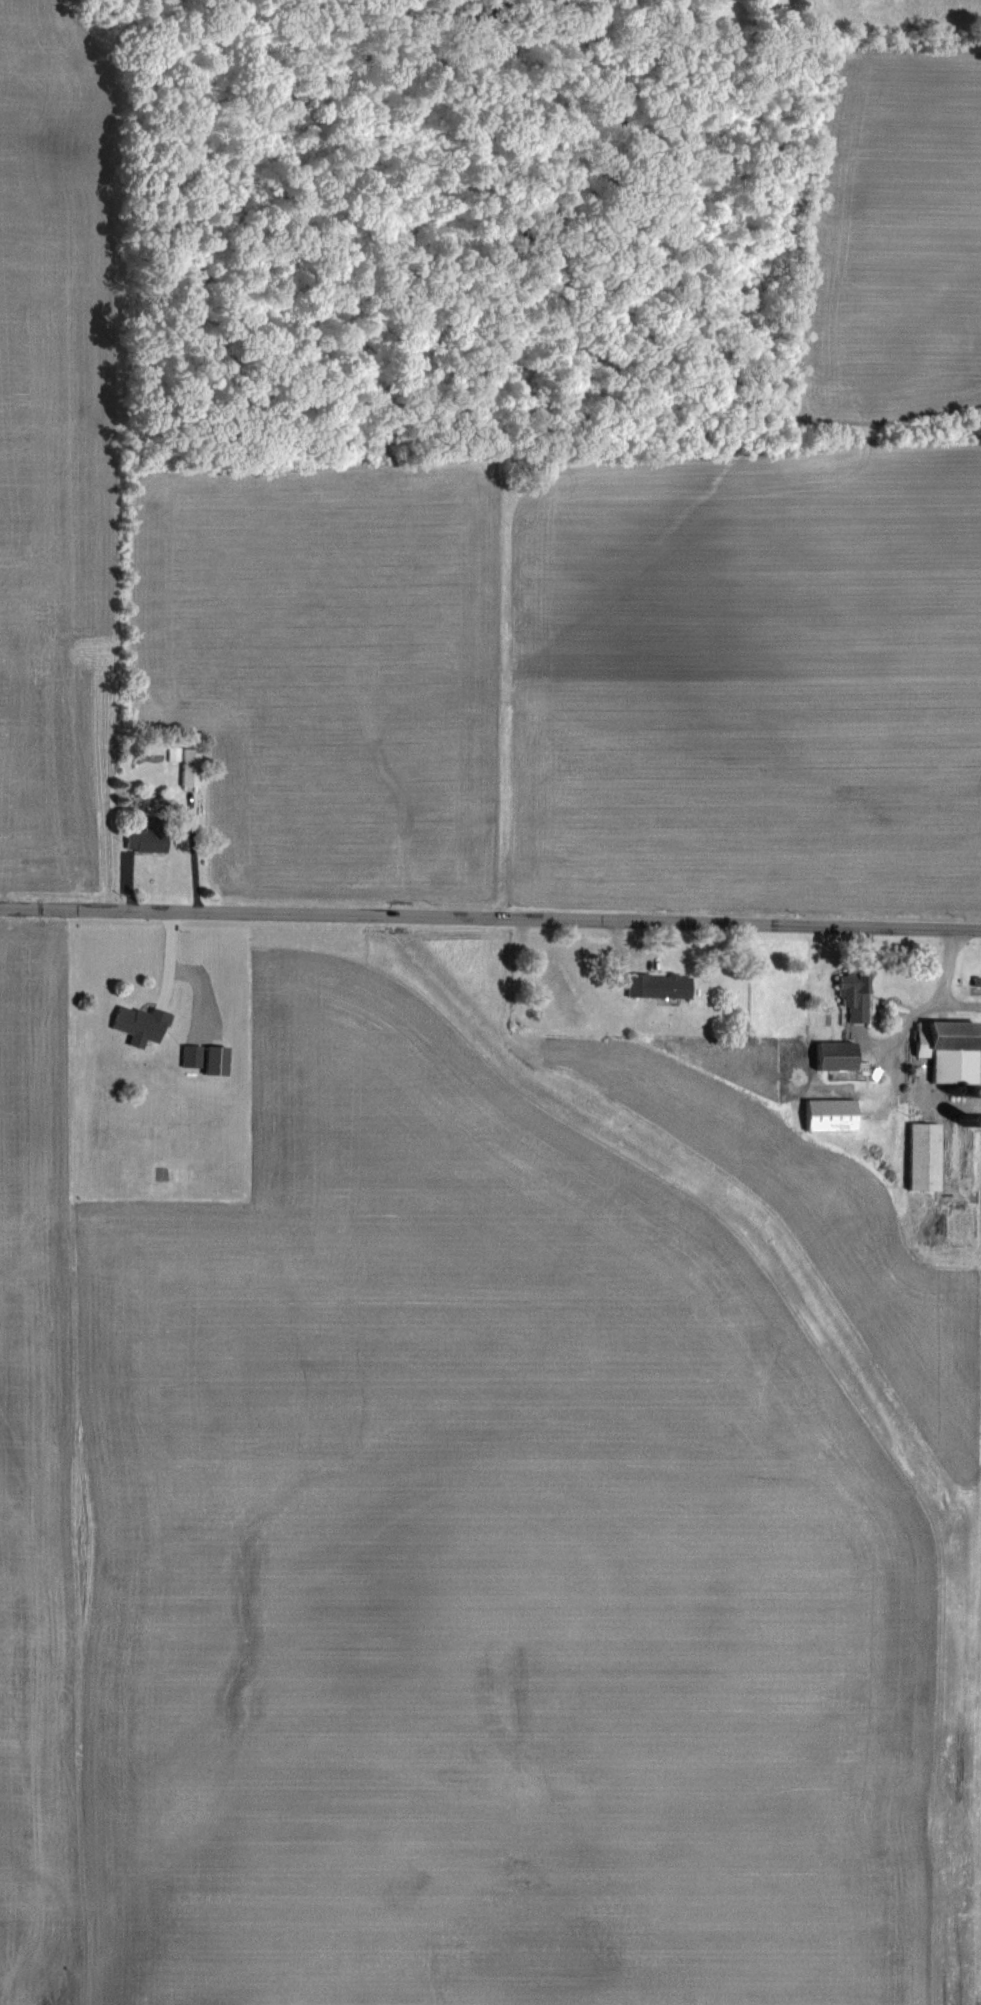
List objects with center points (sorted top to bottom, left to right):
crop: (51, 453)
crop: (600, 529)
building: (189, 767)
building: (147, 838)
road: (490, 919)
building: (656, 985)
building: (851, 995)
road: (935, 999)
road: (959, 1006)
building: (138, 1024)
building: (946, 1049)
building: (189, 1056)
building: (833, 1056)
building: (213, 1060)
building: (827, 1115)
building: (953, 1150)
building: (921, 1156)
crop: (508, 1478)

